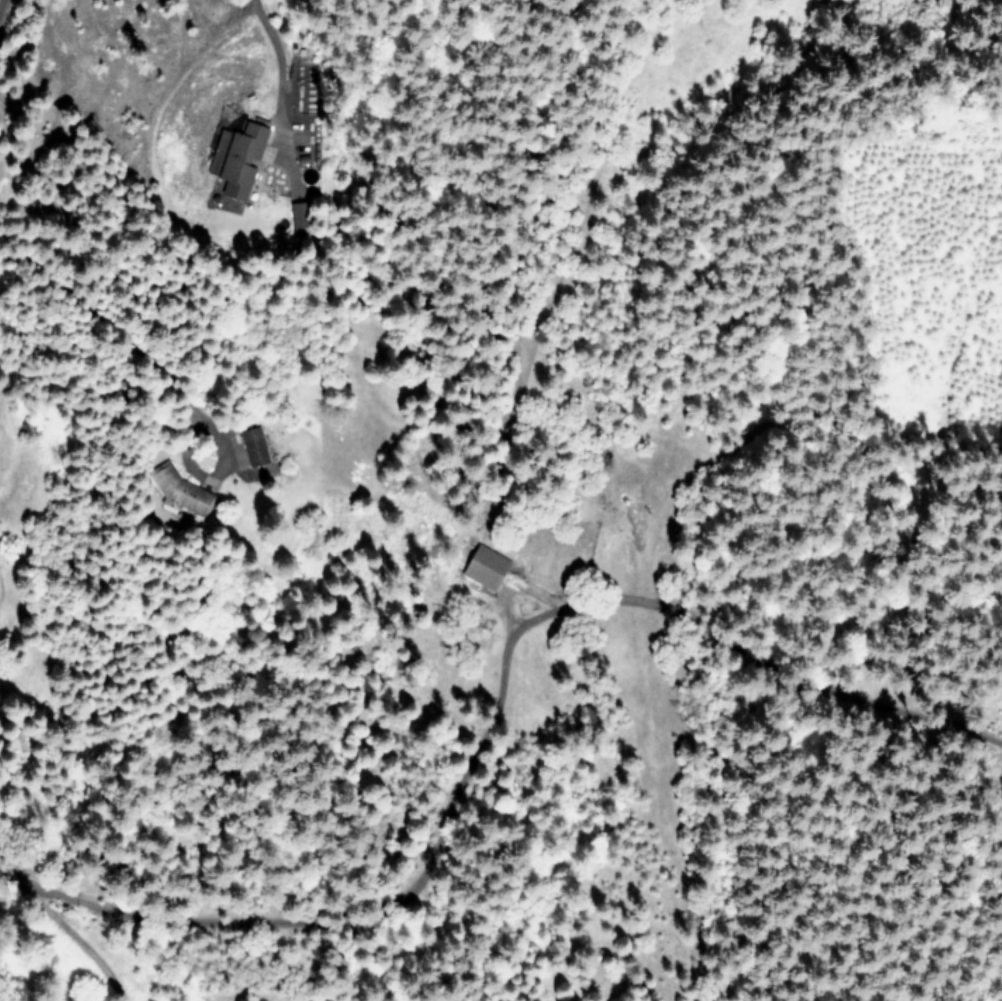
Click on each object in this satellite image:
road: (275, 57)
building: (237, 165)
building: (300, 217)
building: (253, 448)
building: (180, 491)
building: (483, 567)
road: (495, 701)
road: (42, 901)
road: (105, 973)
road: (167, 974)

